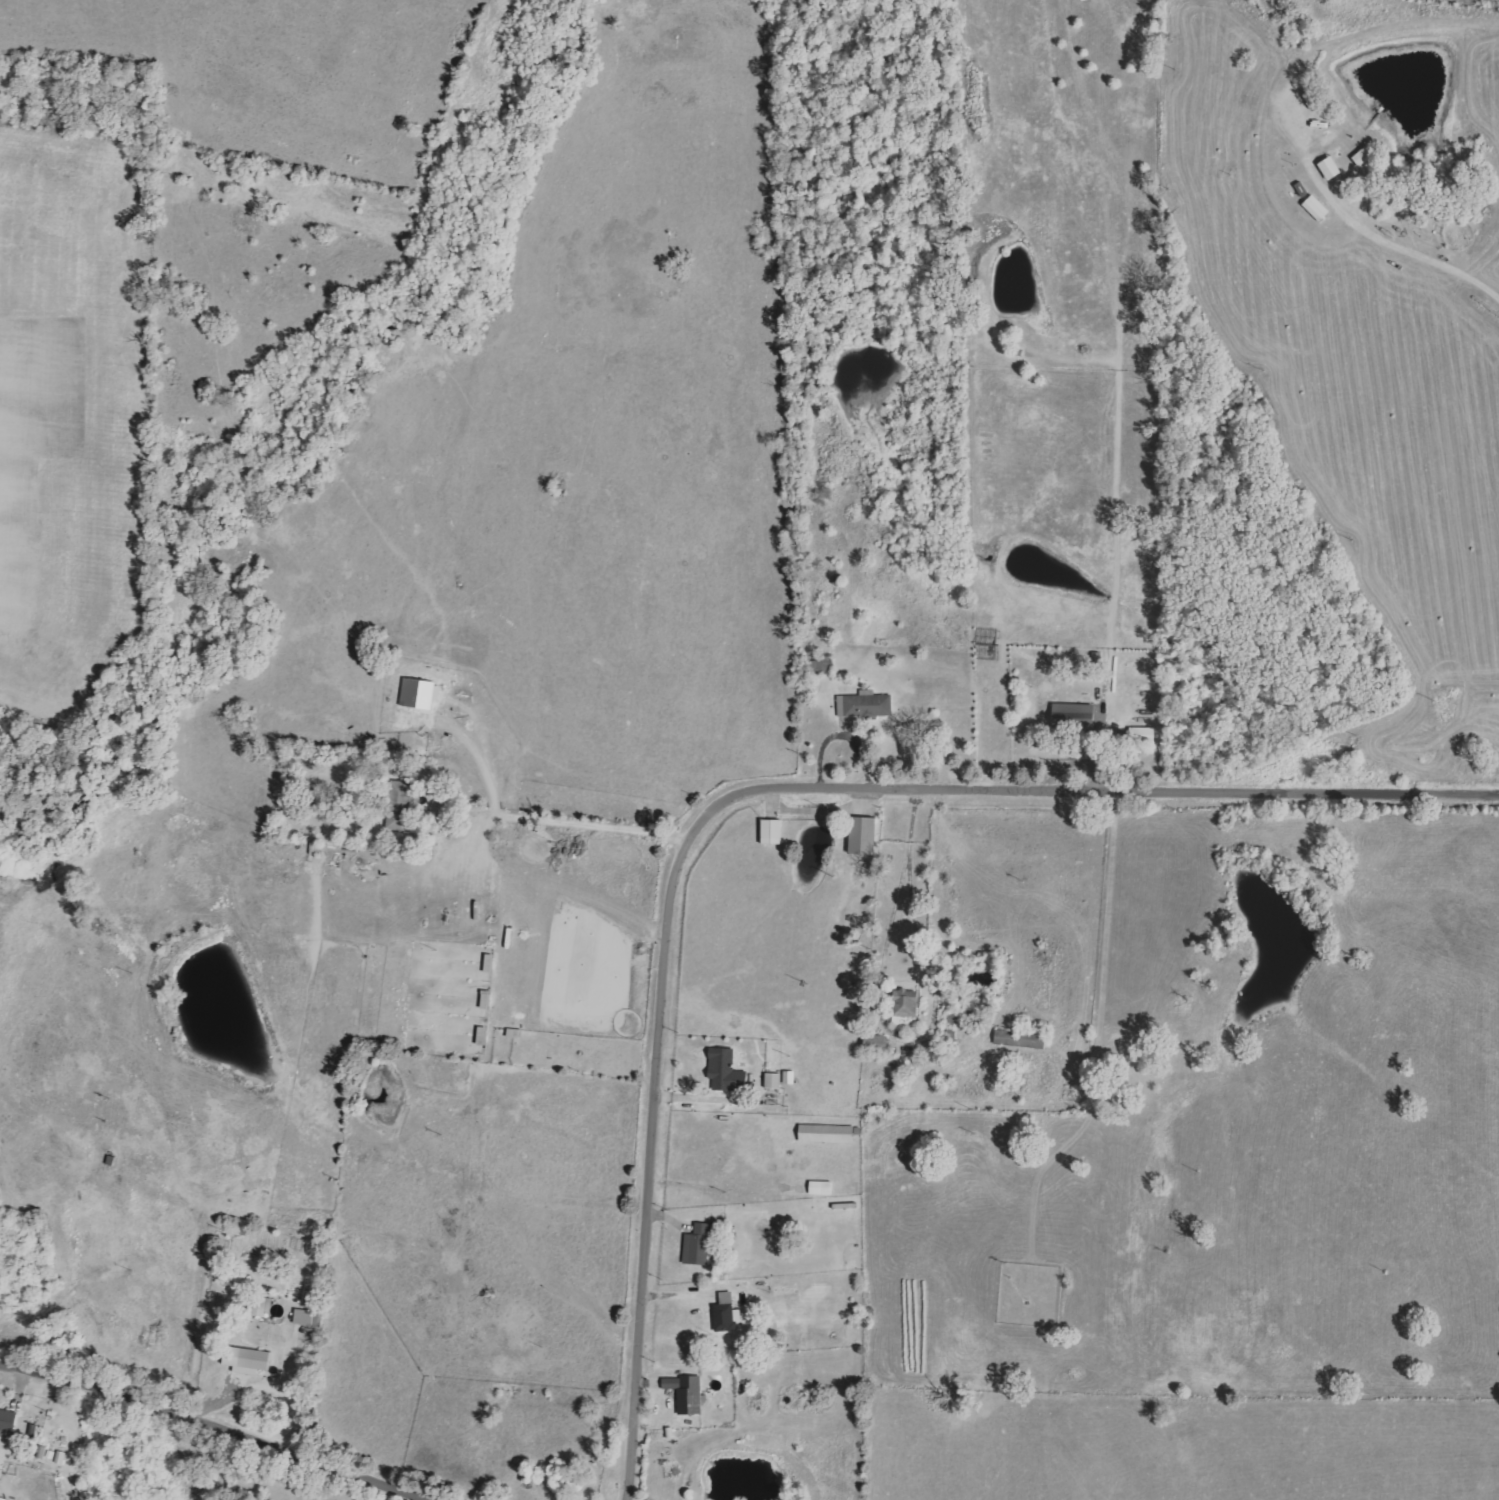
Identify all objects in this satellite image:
power tower: (1164, 71)
building: (1332, 168)
power tower: (1161, 188)
building: (1318, 208)
road: (1406, 245)
power tower: (1255, 368)
power tower: (1343, 542)
building: (423, 694)
power tower: (1424, 702)
building: (867, 705)
building: (1075, 712)
building: (1144, 734)
road: (753, 784)
building: (401, 806)
road: (817, 810)
power tower: (1171, 814)
road: (583, 825)
building: (774, 832)
building: (865, 836)
road: (889, 939)
power tower: (810, 985)
building: (907, 1005)
building: (1022, 1040)
building: (725, 1070)
power tower: (588, 1075)
building: (775, 1081)
road: (718, 1098)
building: (829, 1134)
power tower: (336, 1181)
road: (717, 1187)
building: (823, 1188)
power tower: (221, 1231)
building: (700, 1246)
building: (727, 1314)
building: (250, 1361)
building: (688, 1394)
building: (8, 1424)
road: (197, 1440)
building: (3, 1499)

